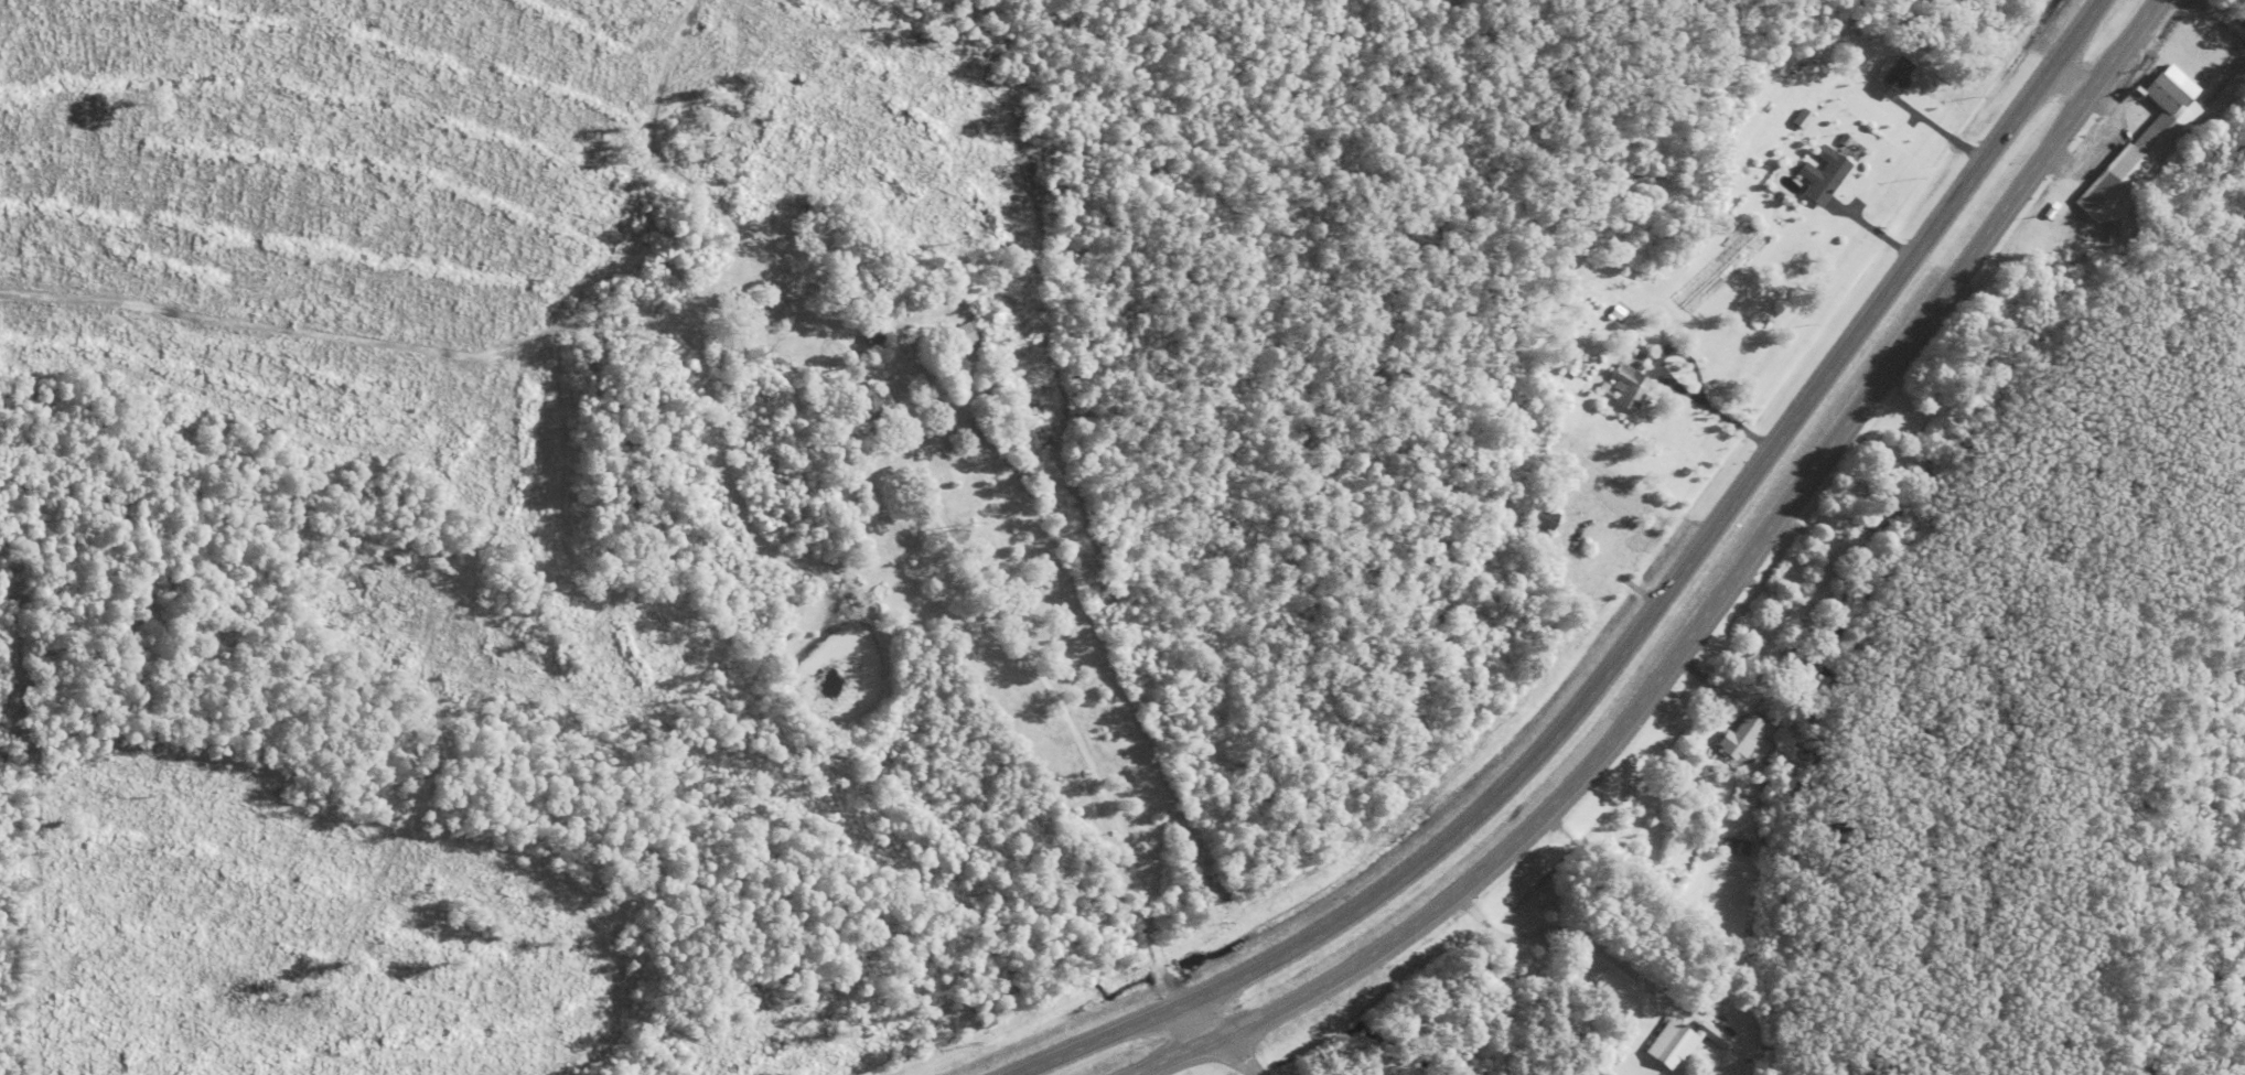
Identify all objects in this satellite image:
road: (1704, 611)
road: (1631, 633)
road: (1061, 711)
road: (1231, 1056)

